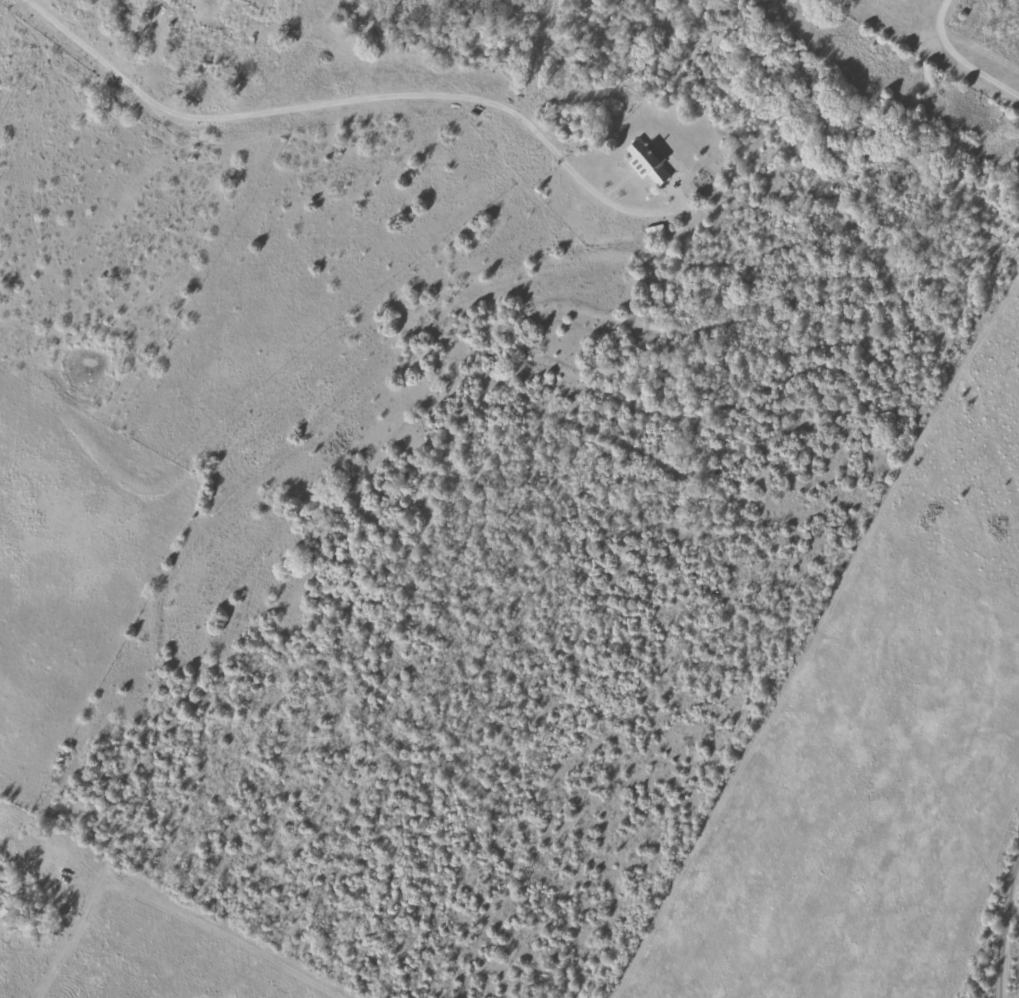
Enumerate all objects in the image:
road: (352, 99)
building: (646, 161)

